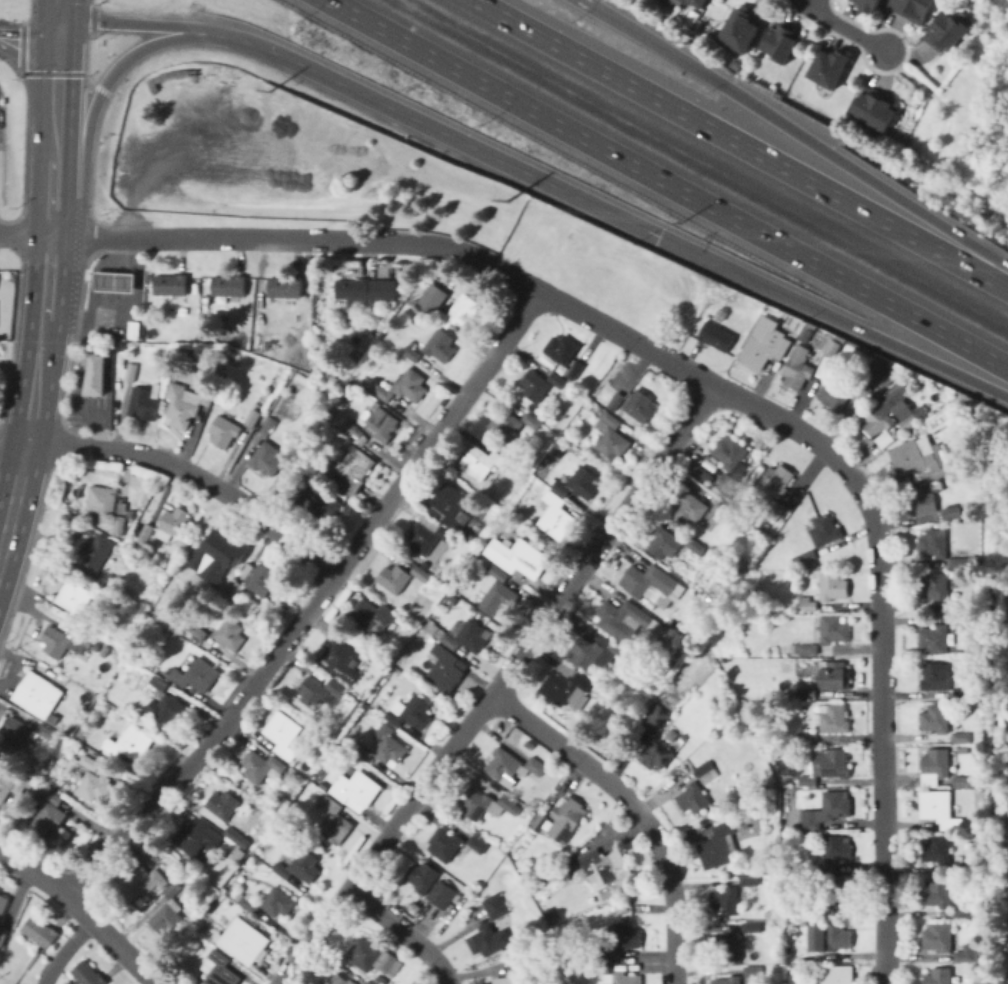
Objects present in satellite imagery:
road: (584, 1)
building: (686, 1)
road: (91, 2)
building: (700, 2)
road: (799, 5)
road: (811, 5)
building: (870, 5)
road: (59, 8)
building: (915, 8)
road: (28, 11)
traffic signals: (59, 17)
road: (92, 18)
road: (165, 23)
building: (741, 29)
road: (848, 30)
building: (947, 30)
building: (782, 40)
road: (28, 43)
traffic signals: (58, 47)
road: (86, 58)
building: (830, 67)
road: (27, 72)
road: (101, 88)
building: (876, 109)
road: (55, 115)
road: (89, 121)
road: (797, 133)
road: (464, 141)
road: (742, 143)
road: (24, 152)
road: (93, 153)
road: (667, 183)
road: (90, 225)
road: (24, 232)
traffic signals: (659, 235)
road: (397, 240)
road: (46, 274)
building: (116, 282)
building: (171, 284)
building: (229, 285)
building: (285, 287)
building: (365, 291)
building: (468, 305)
road: (833, 316)
building: (261, 317)
building: (134, 330)
building: (716, 337)
building: (763, 343)
building: (440, 345)
building: (833, 346)
building: (562, 349)
building: (412, 353)
building: (234, 357)
building: (799, 368)
building: (575, 370)
building: (327, 371)
building: (131, 372)
building: (96, 376)
building: (558, 379)
building: (869, 380)
building: (614, 381)
building: (535, 385)
building: (404, 387)
road: (36, 388)
building: (835, 395)
building: (144, 401)
building: (616, 401)
building: (185, 404)
building: (640, 405)
road: (20, 406)
building: (883, 410)
building: (903, 410)
road: (76, 411)
building: (328, 415)
building: (253, 418)
building: (532, 421)
building: (909, 422)
building: (506, 425)
building: (269, 426)
building: (382, 426)
building: (354, 430)
building: (224, 431)
road: (438, 432)
building: (611, 437)
building: (886, 440)
building: (531, 442)
building: (730, 453)
building: (919, 458)
building: (267, 459)
building: (482, 461)
road: (183, 467)
building: (349, 468)
building: (713, 471)
building: (699, 472)
building: (776, 479)
building: (729, 482)
building: (580, 484)
road: (16, 497)
building: (321, 500)
building: (921, 501)
building: (105, 506)
building: (450, 507)
building: (122, 508)
building: (690, 508)
building: (774, 509)
building: (518, 510)
building: (722, 511)
building: (951, 512)
building: (554, 514)
building: (174, 523)
building: (824, 530)
building: (138, 531)
building: (146, 533)
building: (429, 534)
building: (472, 536)
building: (779, 537)
building: (663, 543)
building: (934, 544)
building: (696, 546)
building: (95, 551)
building: (220, 552)
building: (518, 558)
building: (804, 558)
building: (960, 560)
building: (740, 562)
building: (427, 564)
building: (247, 571)
building: (421, 573)
building: (394, 577)
building: (261, 580)
building: (211, 581)
building: (106, 582)
building: (649, 584)
building: (832, 585)
building: (933, 586)
building: (233, 589)
building: (497, 592)
building: (453, 599)
building: (76, 601)
building: (807, 604)
building: (960, 605)
building: (246, 613)
building: (373, 617)
building: (430, 619)
building: (622, 620)
building: (960, 620)
building: (184, 624)
building: (833, 630)
building: (198, 631)
building: (806, 633)
building: (230, 634)
building: (464, 635)
building: (935, 639)
road: (879, 641)
building: (62, 644)
building: (97, 646)
building: (807, 649)
building: (366, 650)
building: (106, 651)
building: (595, 652)
building: (341, 659)
building: (631, 662)
building: (446, 668)
building: (640, 669)
building: (832, 674)
building: (196, 675)
building: (934, 677)
building: (400, 679)
building: (159, 683)
road: (497, 685)
building: (565, 685)
building: (596, 690)
building: (359, 691)
building: (319, 692)
building: (807, 692)
building: (962, 693)
building: (39, 695)
building: (603, 696)
building: (610, 700)
building: (619, 704)
building: (168, 708)
building: (411, 712)
building: (834, 718)
building: (936, 718)
building: (54, 719)
building: (659, 721)
building: (67, 726)
building: (45, 729)
building: (17, 732)
building: (284, 734)
building: (807, 736)
building: (962, 737)
building: (683, 738)
road: (212, 739)
building: (776, 740)
building: (130, 743)
building: (964, 748)
building: (390, 749)
building: (72, 752)
building: (656, 754)
building: (90, 762)
building: (834, 762)
building: (936, 762)
building: (513, 765)
building: (262, 766)
building: (706, 772)
building: (808, 780)
building: (787, 781)
building: (963, 781)
building: (10, 782)
building: (979, 782)
building: (93, 786)
building: (356, 790)
building: (51, 796)
building: (693, 798)
building: (222, 804)
building: (486, 804)
road: (635, 808)
building: (939, 809)
building: (828, 811)
building: (49, 817)
building: (566, 819)
building: (333, 821)
building: (539, 822)
building: (197, 837)
building: (237, 837)
building: (478, 842)
building: (525, 843)
building: (445, 844)
building: (719, 846)
building: (142, 849)
building: (937, 850)
building: (831, 852)
building: (239, 855)
building: (298, 866)
building: (604, 867)
building: (810, 868)
building: (963, 869)
building: (978, 869)
building: (785, 870)
building: (189, 873)
building: (422, 876)
building: (159, 879)
building: (749, 880)
building: (132, 884)
building: (836, 893)
building: (937, 893)
building: (441, 894)
building: (970, 899)
building: (247, 901)
building: (727, 901)
building: (278, 902)
building: (3, 904)
building: (495, 906)
road: (84, 909)
building: (964, 911)
building: (811, 912)
building: (169, 913)
building: (551, 915)
road: (89, 923)
building: (197, 923)
building: (752, 926)
building: (40, 931)
road: (405, 931)
building: (2, 934)
road: (79, 936)
building: (836, 936)
building: (938, 937)
building: (245, 940)
building: (488, 940)
building: (620, 940)
building: (727, 946)
building: (966, 953)
building: (811, 956)
building: (373, 957)
road: (58, 963)
building: (219, 969)
building: (753, 971)
building: (517, 972)
building: (87, 974)
building: (836, 975)
building: (612, 976)
building: (938, 976)
building: (339, 979)
building: (729, 980)
building: (367, 982)

